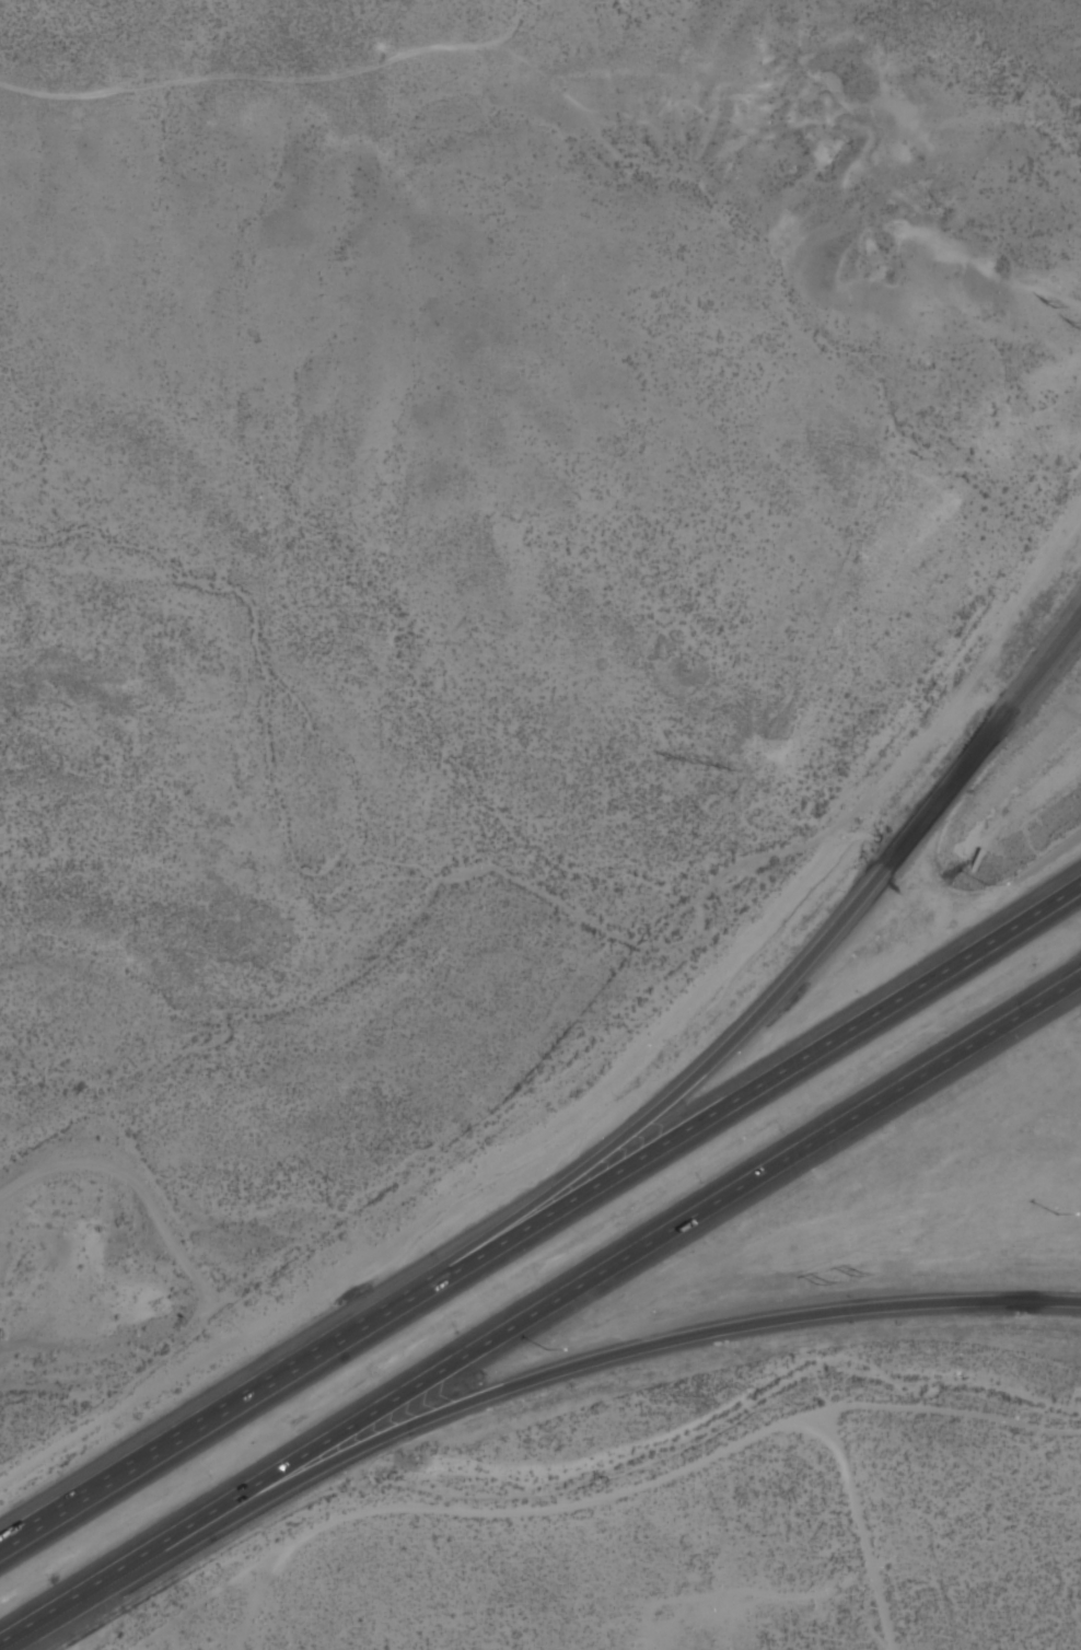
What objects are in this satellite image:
power tower: (1047, 300)
power tower: (1071, 319)
power tower: (682, 763)
power tower: (718, 769)
street lamp: (989, 885)
road: (791, 976)
road: (763, 1081)
street lamp: (1058, 1215)
road: (619, 1262)
power tower: (857, 1278)
power tower: (822, 1285)
street lamp: (548, 1349)
road: (602, 1358)
road: (220, 1408)
road: (857, 1533)
road: (79, 1595)

